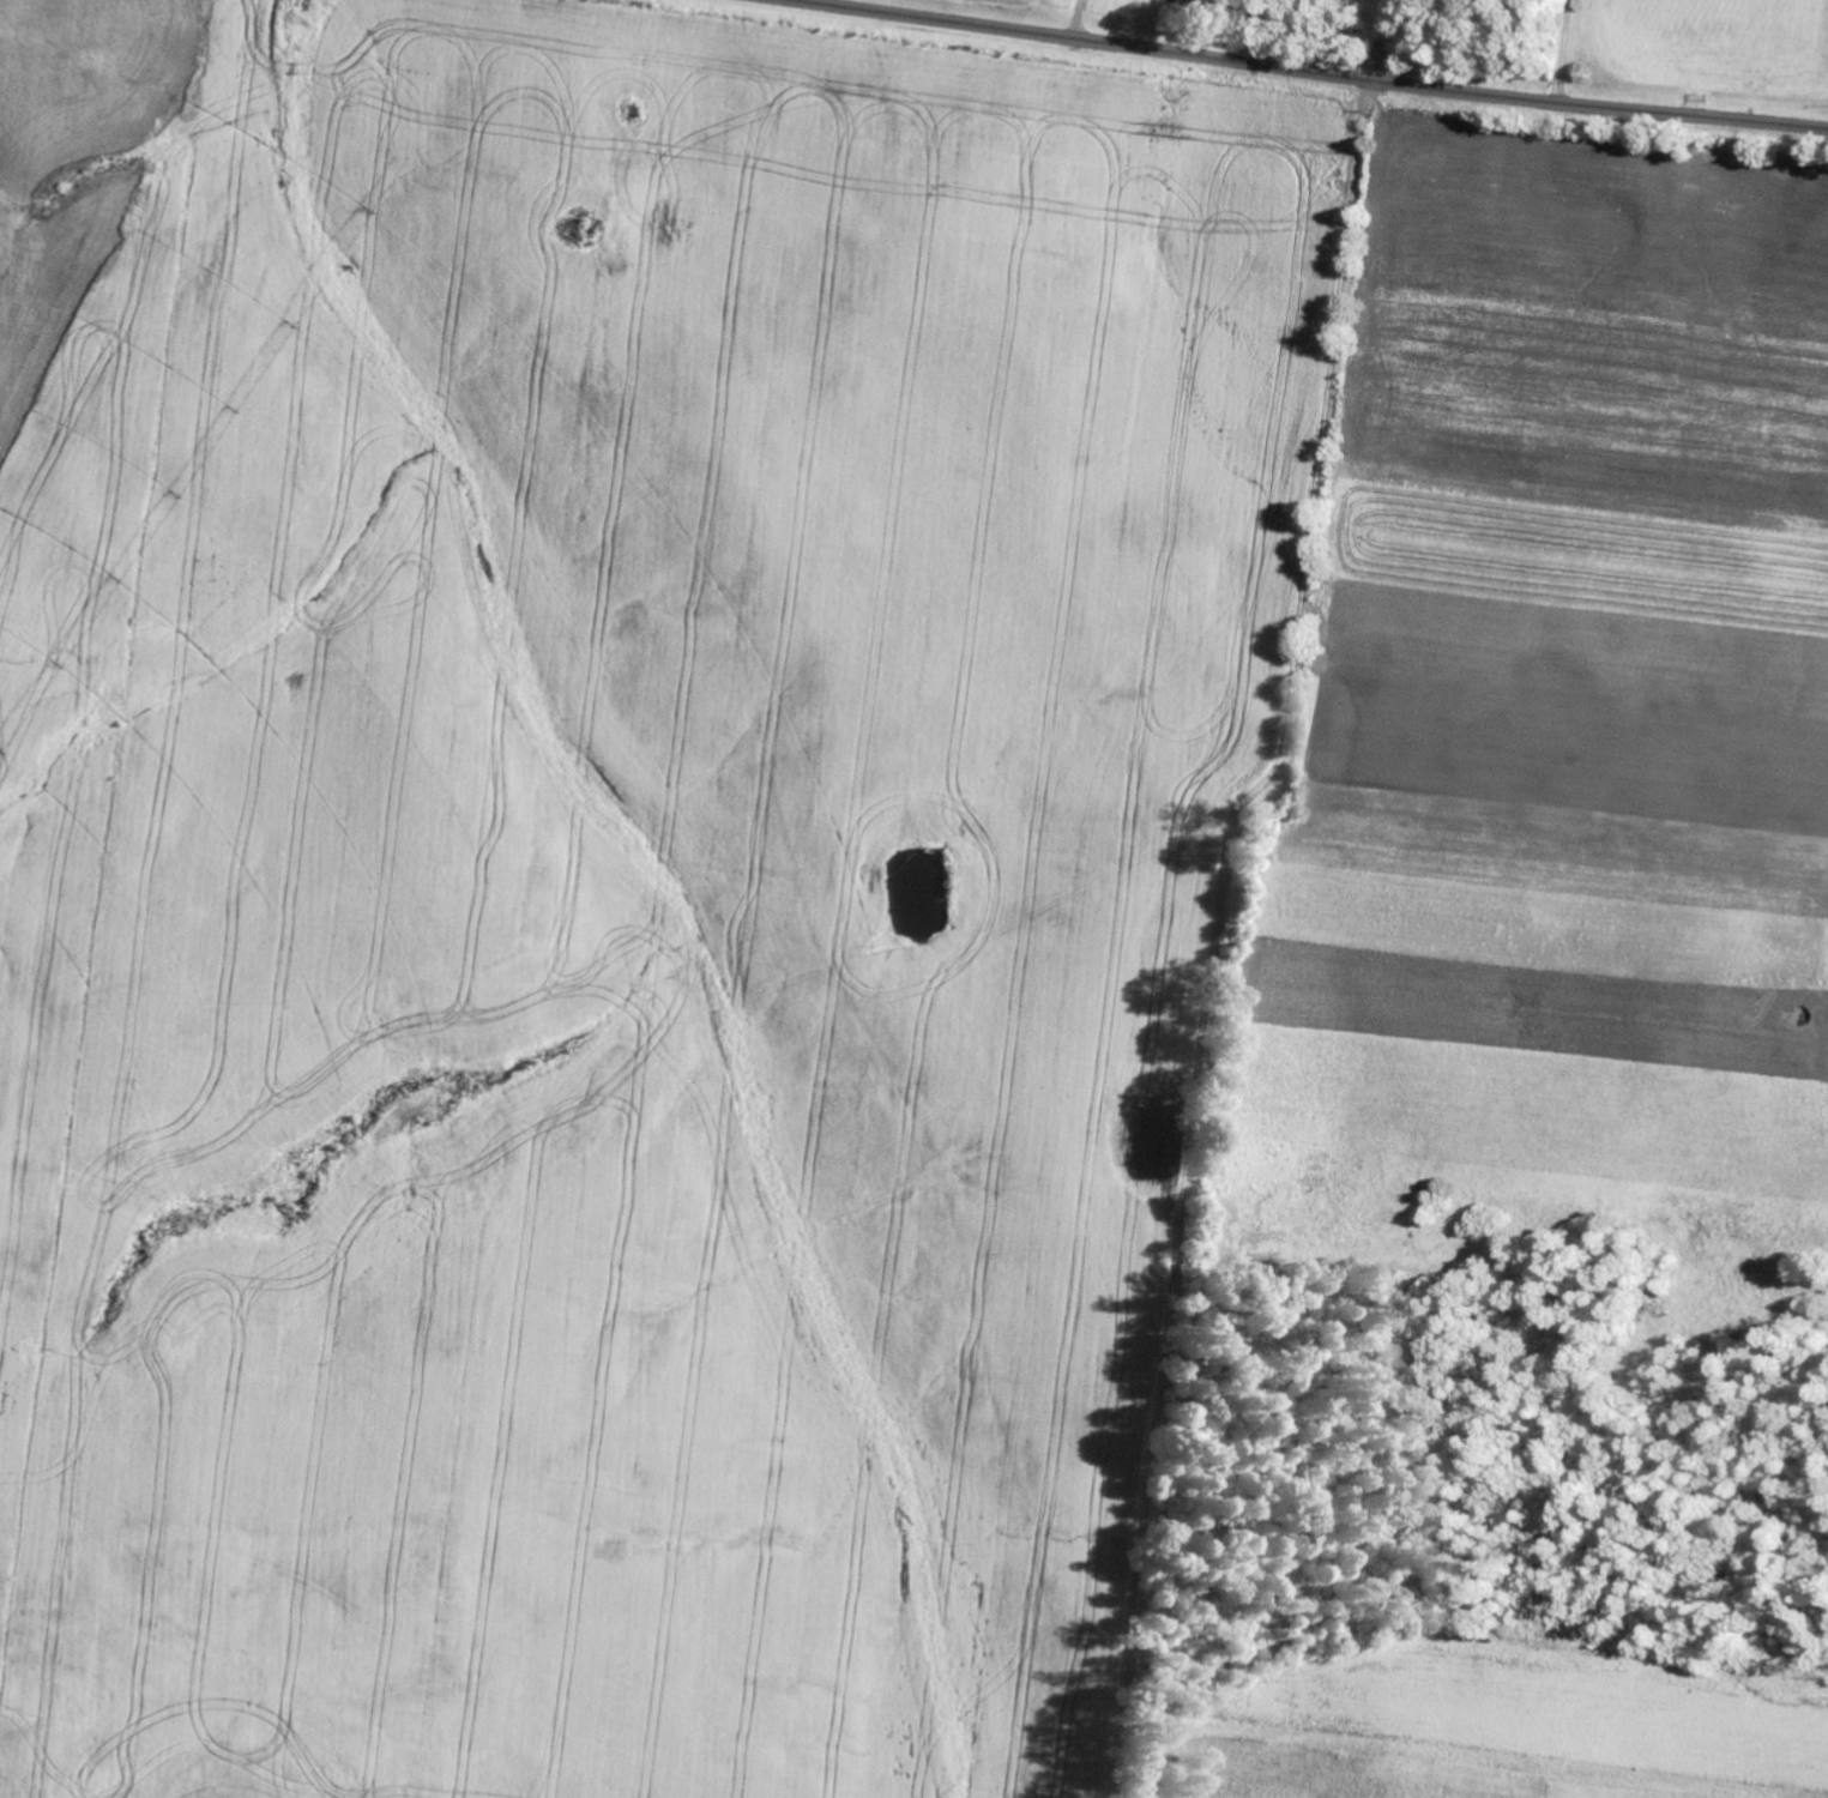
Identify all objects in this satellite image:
road: (1567, 52)
road: (1305, 73)
road: (1699, 955)

